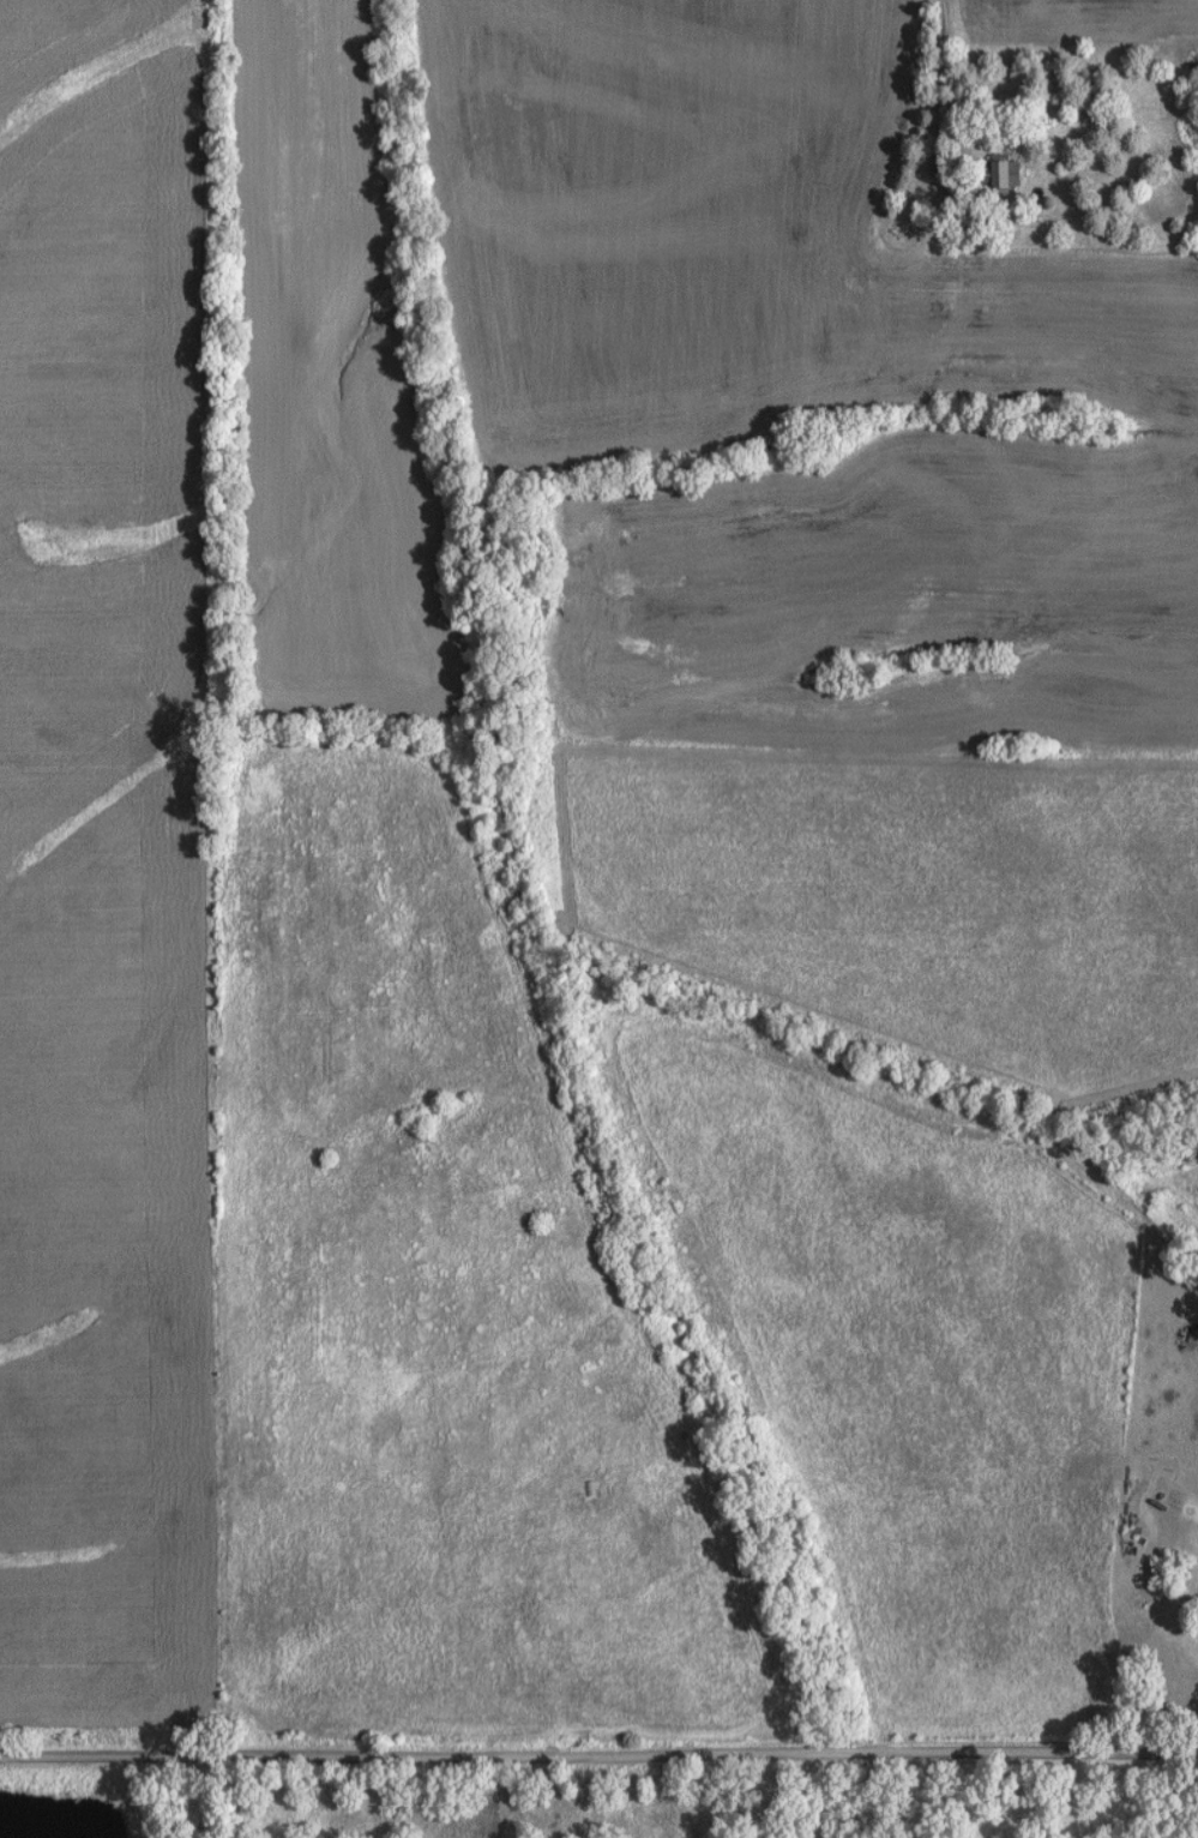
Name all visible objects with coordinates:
road: (934, 65)
building: (1004, 173)
building: (934, 221)
building: (896, 229)
road: (598, 1758)

